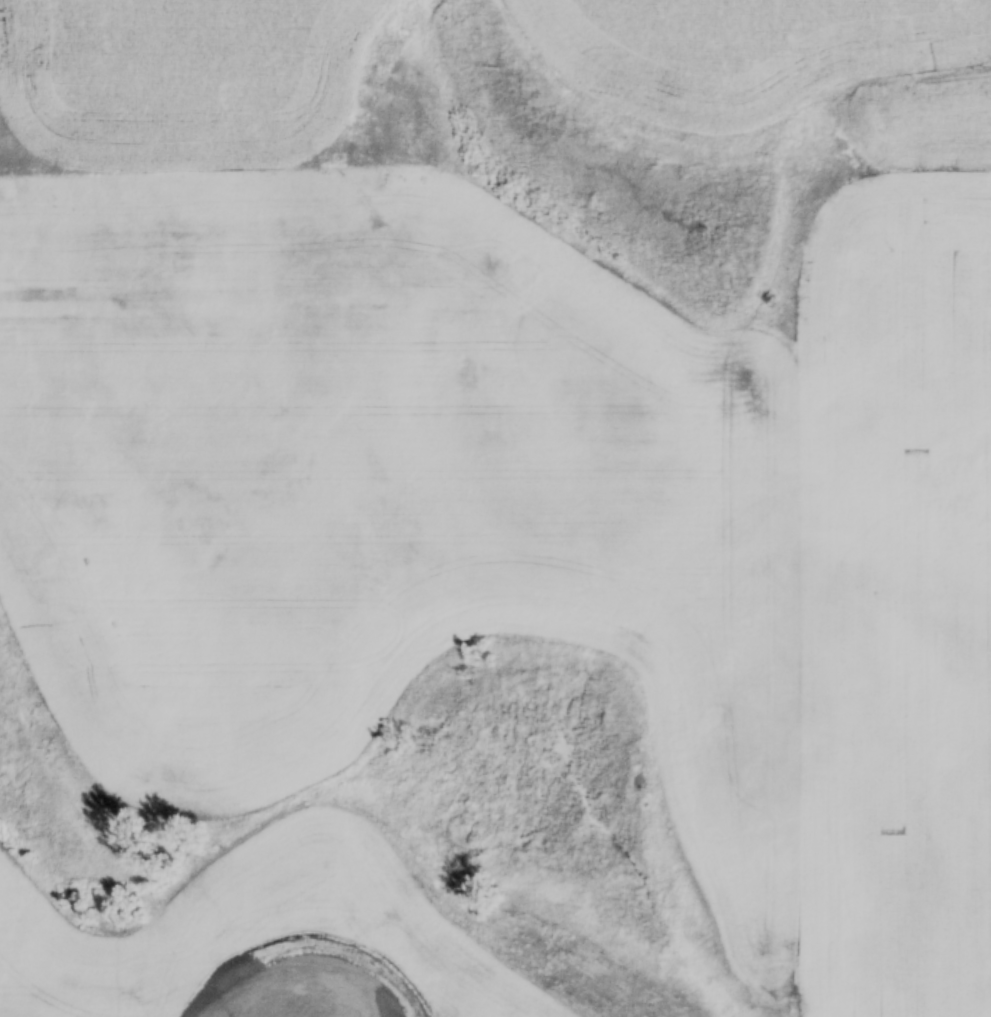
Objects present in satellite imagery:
river: (64, 847)
river: (508, 851)

